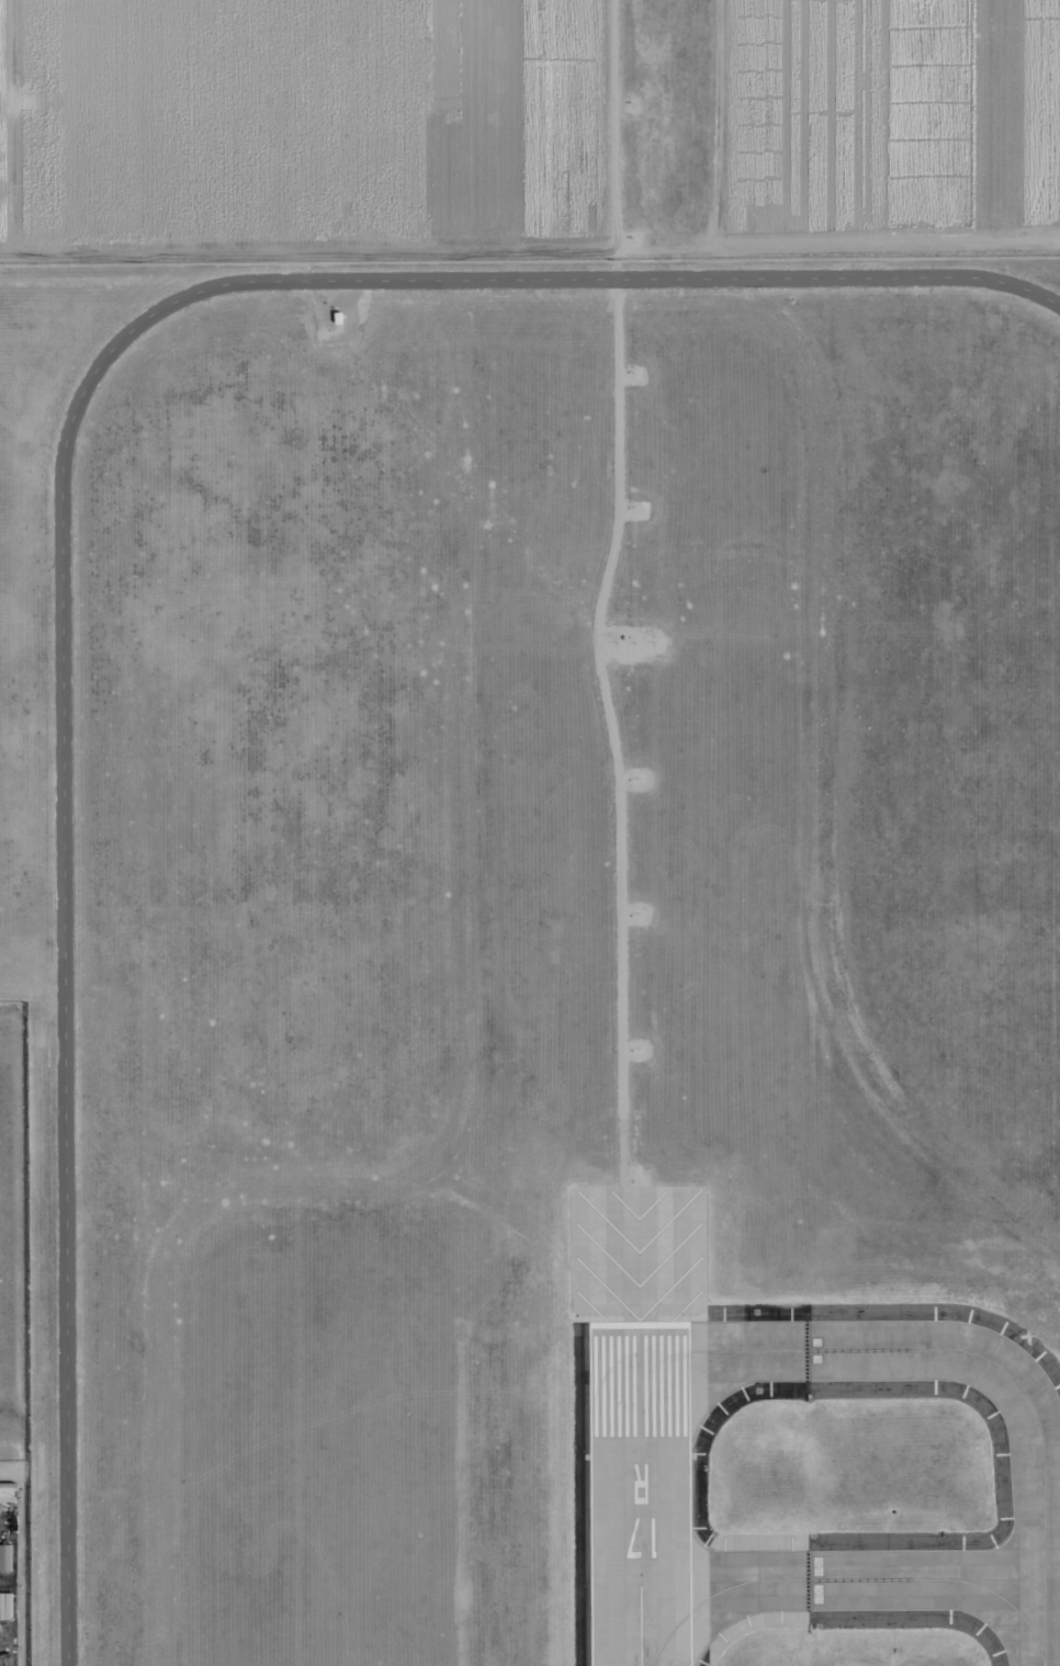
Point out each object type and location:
crop: (292, 13)
road: (614, 18)
road: (8, 253)
building: (336, 316)
road: (60, 514)
road: (619, 785)
airport: (548, 949)
airport taxiway: (978, 1355)
airport runway: (640, 1426)
road: (1051, 1462)
building: (7, 1493)
building: (7, 1512)
building: (1, 1557)
building: (5, 1557)
airport taxiway: (848, 1579)

